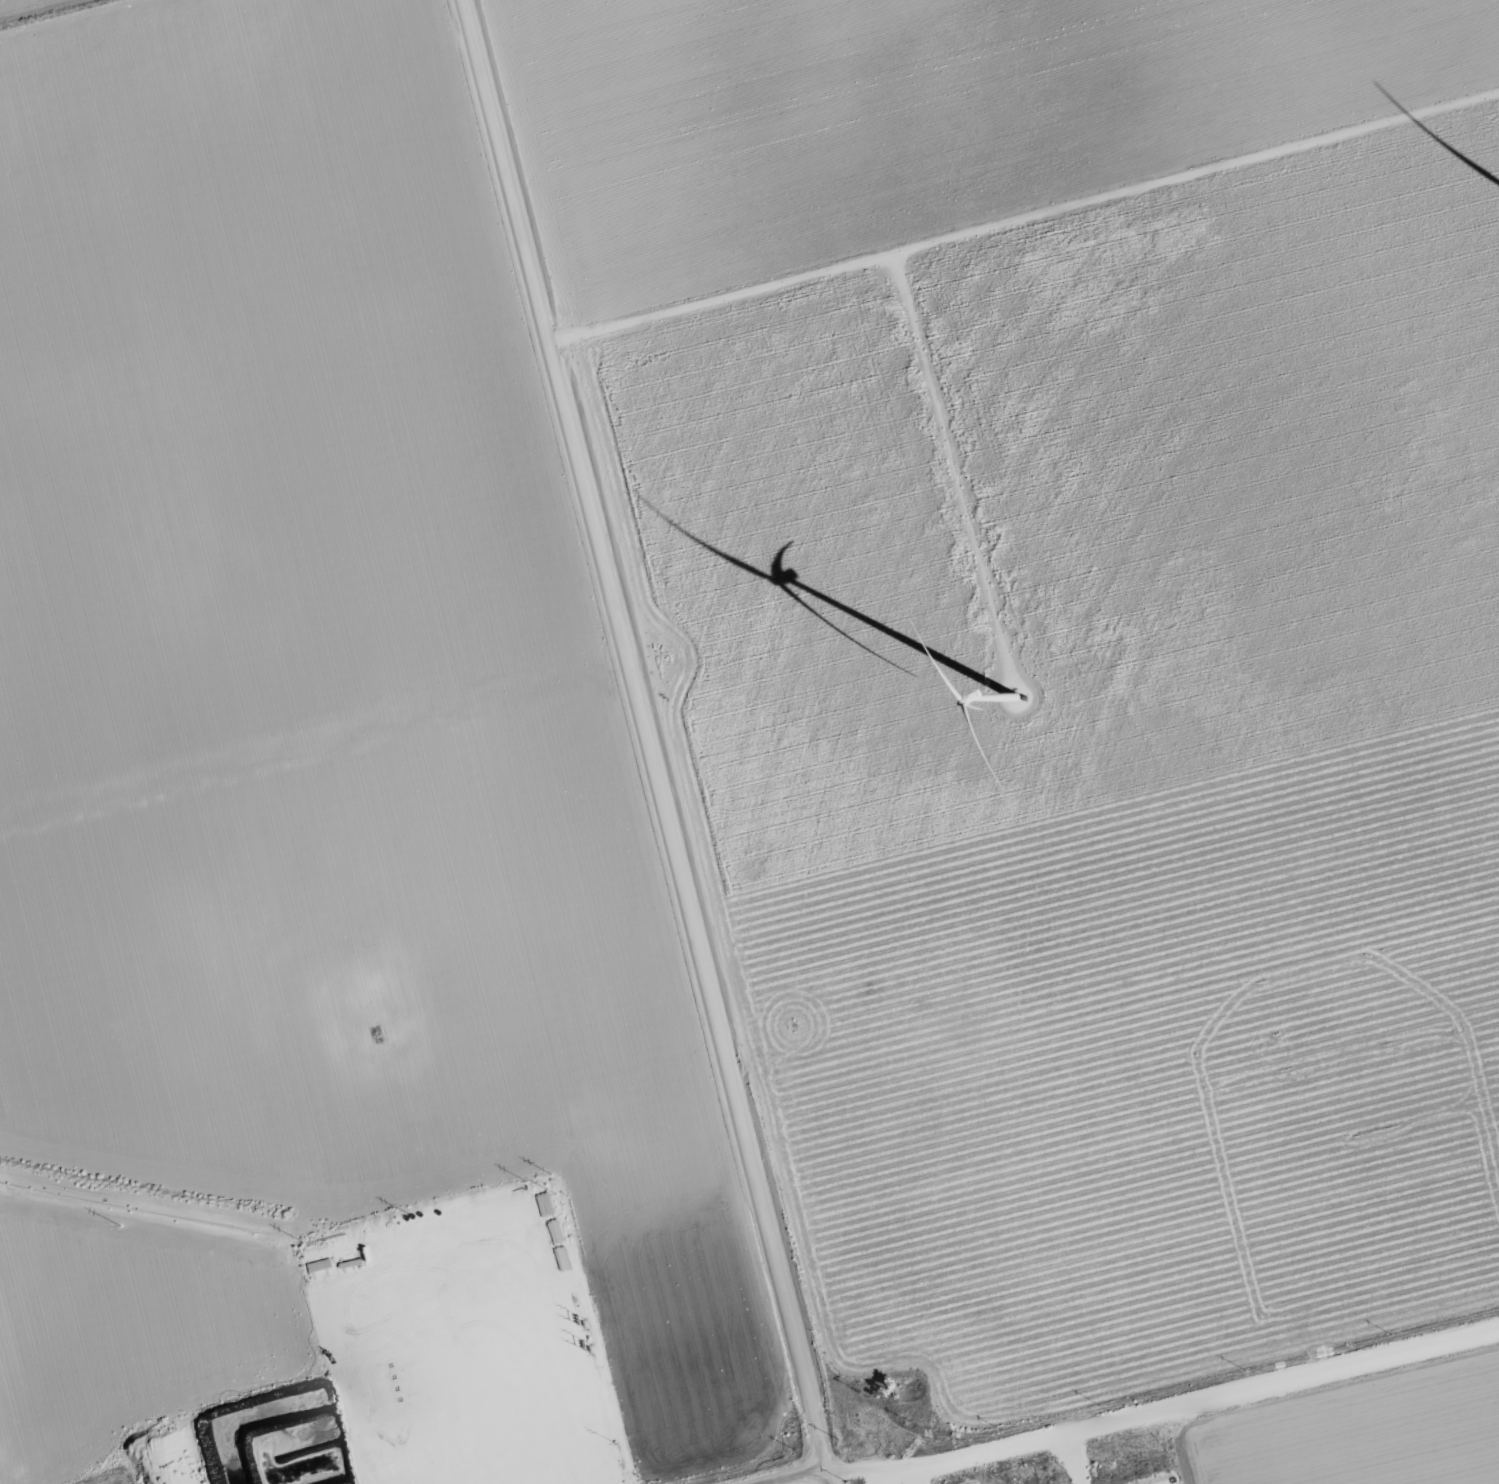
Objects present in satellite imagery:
wind turbine: (1008, 698)
road: (644, 742)
road: (797, 1477)

